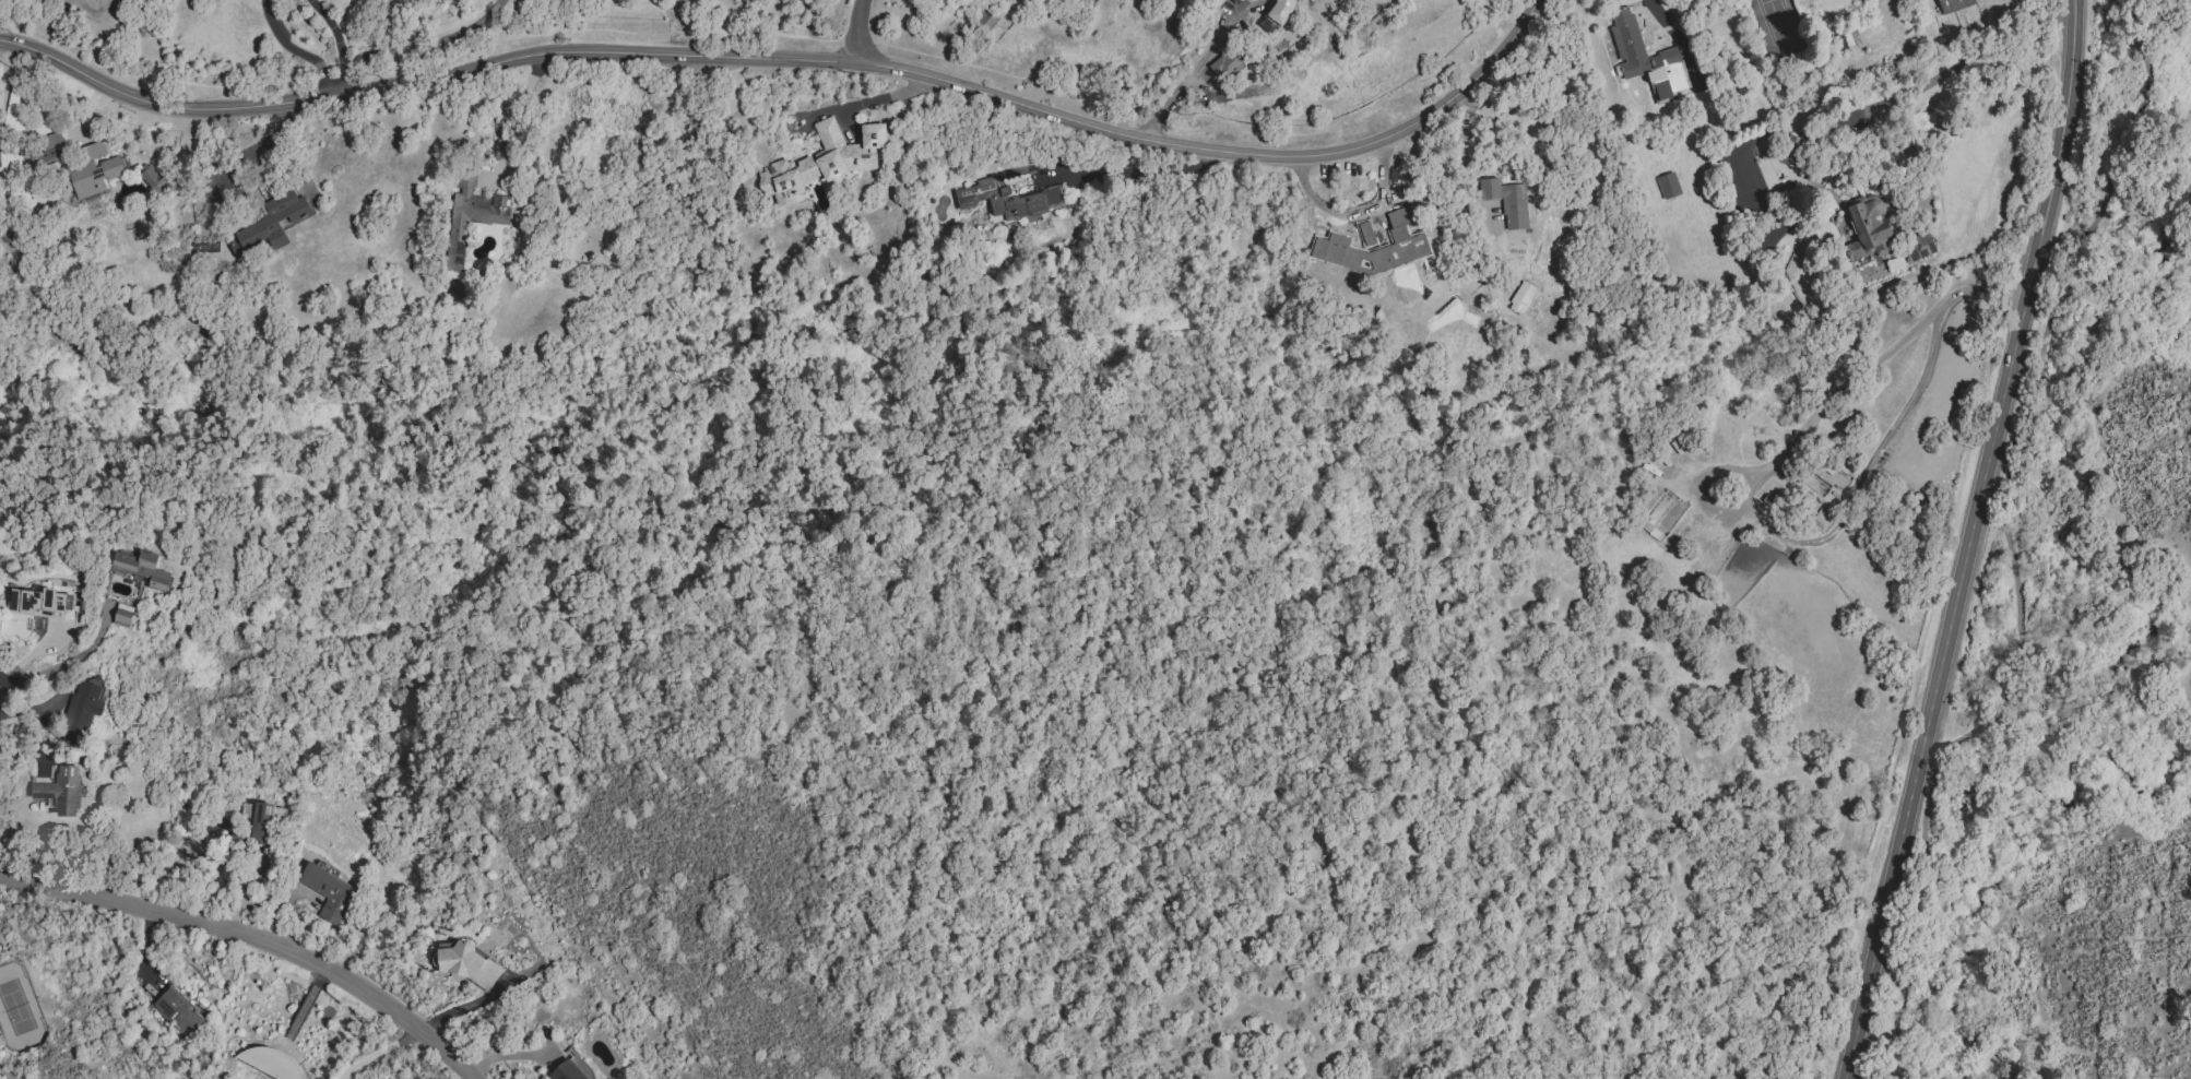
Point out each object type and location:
building: (1953, 4)
road: (1655, 12)
building: (1276, 14)
road: (265, 16)
road: (858, 33)
road: (337, 43)
road: (427, 45)
road: (309, 59)
road: (796, 59)
building: (1646, 59)
building: (1224, 63)
road: (1196, 68)
road: (532, 76)
road: (911, 85)
road: (1924, 86)
road: (853, 105)
road: (506, 138)
road: (258, 147)
building: (51, 149)
building: (1792, 151)
building: (821, 163)
building: (92, 171)
building: (151, 177)
building: (1668, 186)
building: (1007, 199)
building: (1506, 201)
building: (269, 214)
building: (470, 216)
building: (1880, 239)
building: (1521, 298)
road: (1745, 493)
building: (1896, 496)
building: (1773, 500)
building: (1816, 530)
building: (1651, 532)
road: (1970, 541)
road: (2008, 546)
building: (142, 569)
building: (39, 603)
building: (122, 615)
road: (63, 663)
building: (82, 710)
crop: (2106, 751)
building: (62, 791)
building: (260, 821)
building: (328, 892)
road: (253, 939)
building: (466, 963)
building: (178, 1011)
road: (376, 1052)
building: (270, 1063)
building: (572, 1070)

